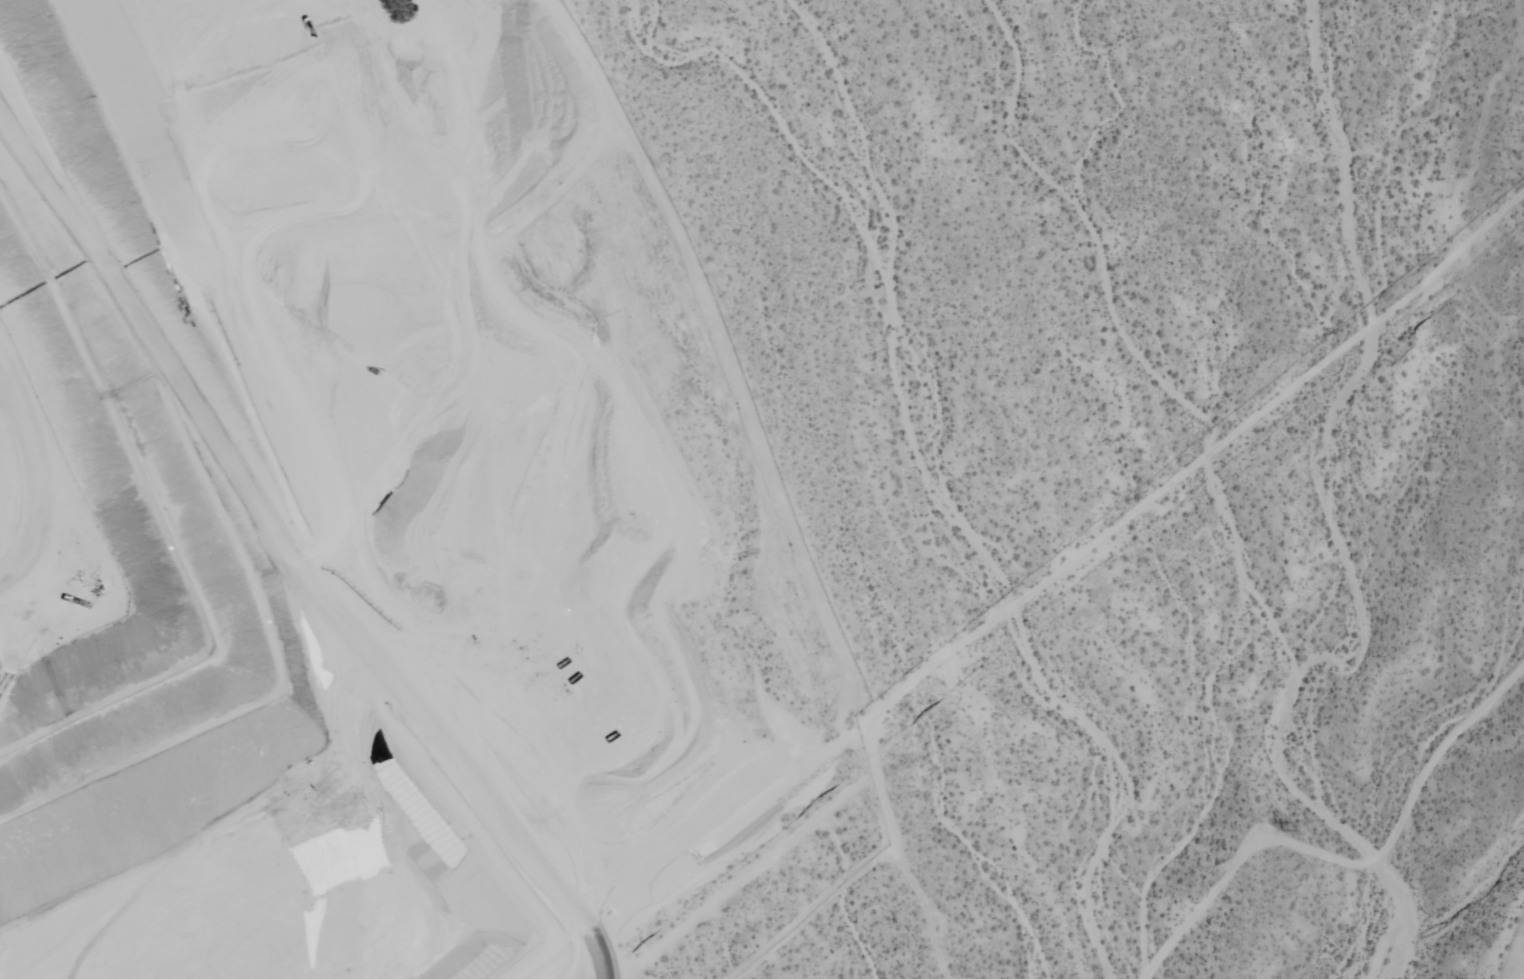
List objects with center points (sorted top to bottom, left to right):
power tower: (1276, 823)

